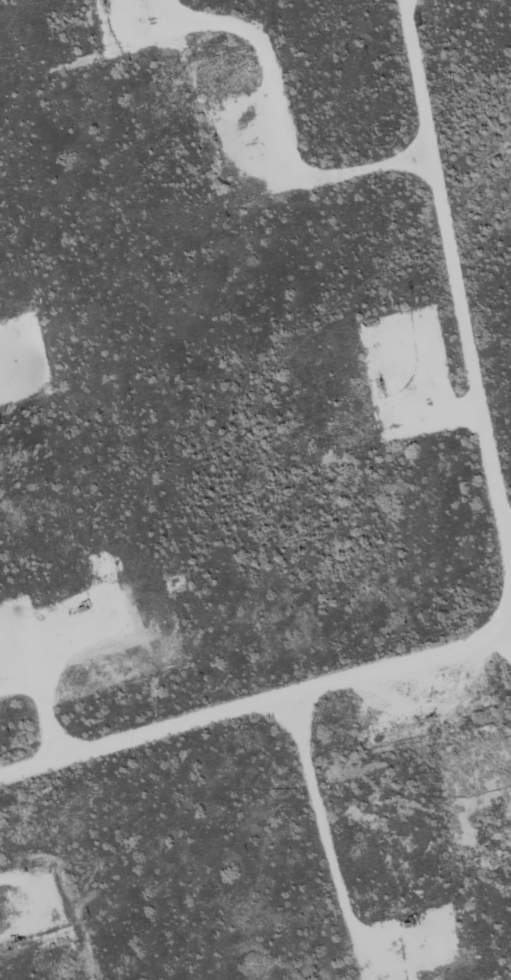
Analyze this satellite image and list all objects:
petroleum well: (212, 135)
road: (458, 274)
petroleum well: (74, 606)
road: (278, 702)
petroleum well: (427, 715)
petroleum well: (410, 920)

